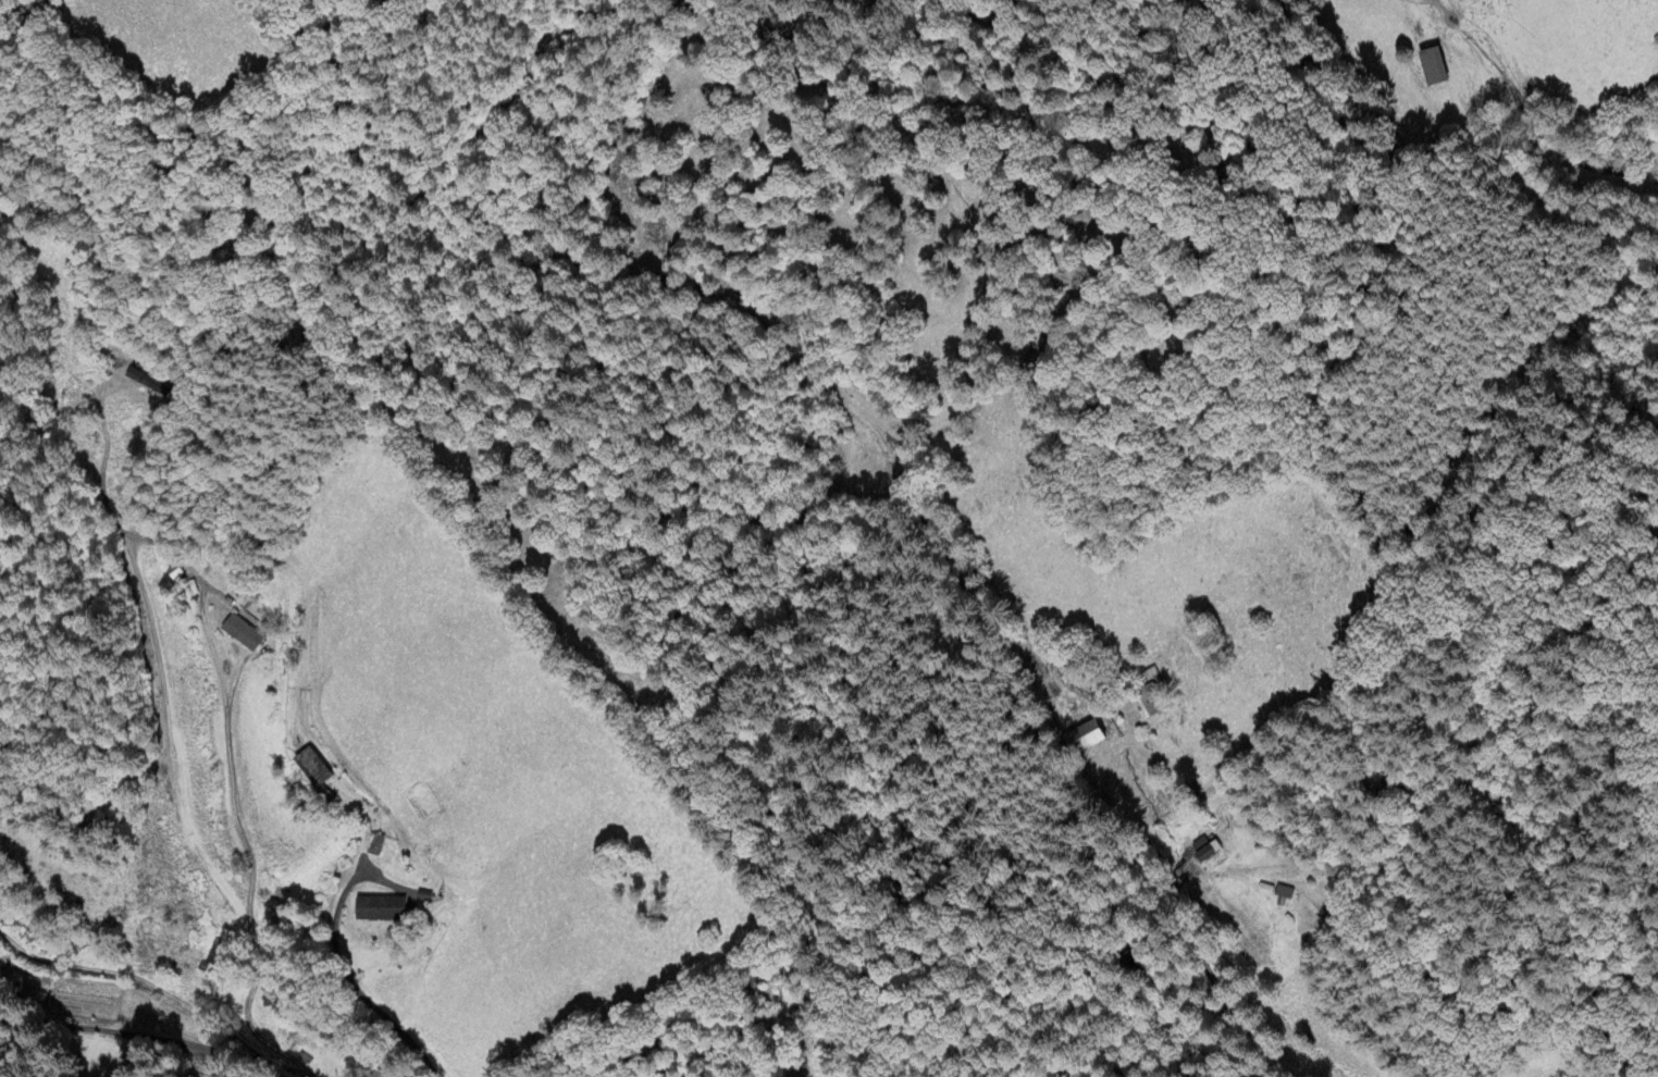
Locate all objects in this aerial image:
building: (1432, 66)
building: (144, 380)
building: (242, 633)
building: (1149, 701)
building: (1085, 736)
road: (170, 748)
building: (311, 768)
building: (378, 908)
road: (351, 983)
road: (136, 1036)

